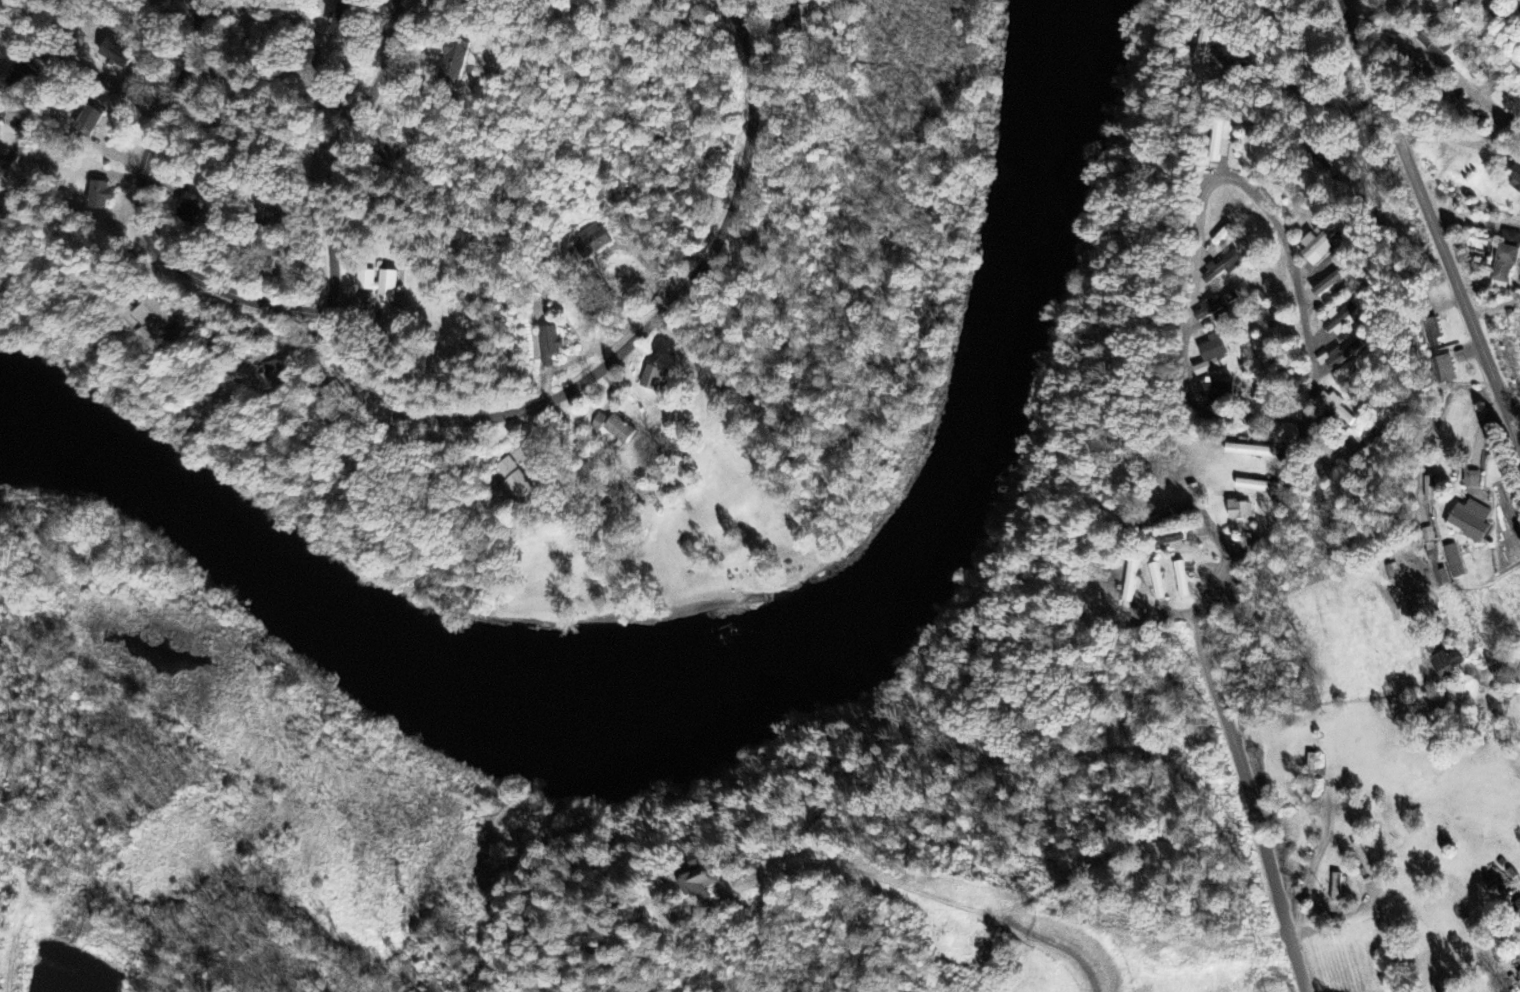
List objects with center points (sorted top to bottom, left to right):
building: (342, 21)
building: (1201, 45)
building: (1432, 45)
building: (114, 54)
building: (453, 61)
road: (55, 74)
building: (20, 75)
building: (1506, 106)
building: (87, 121)
building: (1220, 140)
road: (1453, 141)
road: (335, 151)
building: (1514, 176)
building: (98, 196)
building: (188, 209)
road: (139, 211)
road: (1430, 222)
building: (1510, 239)
building: (591, 242)
building: (1317, 247)
building: (270, 254)
building: (1502, 266)
building: (1222, 267)
building: (1330, 282)
building: (380, 285)
road: (1487, 294)
building: (1215, 306)
building: (154, 317)
building: (1344, 318)
building: (1430, 334)
road: (633, 338)
road: (1182, 343)
building: (549, 345)
building: (1210, 355)
building: (1340, 356)
road: (1311, 364)
building: (1443, 370)
building: (278, 374)
building: (652, 379)
building: (1216, 391)
building: (1335, 407)
road: (1515, 418)
building: (597, 423)
building: (619, 432)
building: (1249, 451)
river: (960, 475)
building: (514, 481)
building: (1471, 481)
building: (1255, 486)
building: (1238, 510)
river: (198, 518)
building: (1161, 519)
building: (1469, 522)
building: (1169, 541)
building: (1453, 562)
building: (1180, 580)
building: (1129, 582)
building: (1155, 582)
road: (1169, 611)
building: (1445, 665)
river: (463, 708)
road: (1242, 770)
building: (697, 881)
building: (1516, 910)
road: (1261, 928)
building: (1437, 989)

